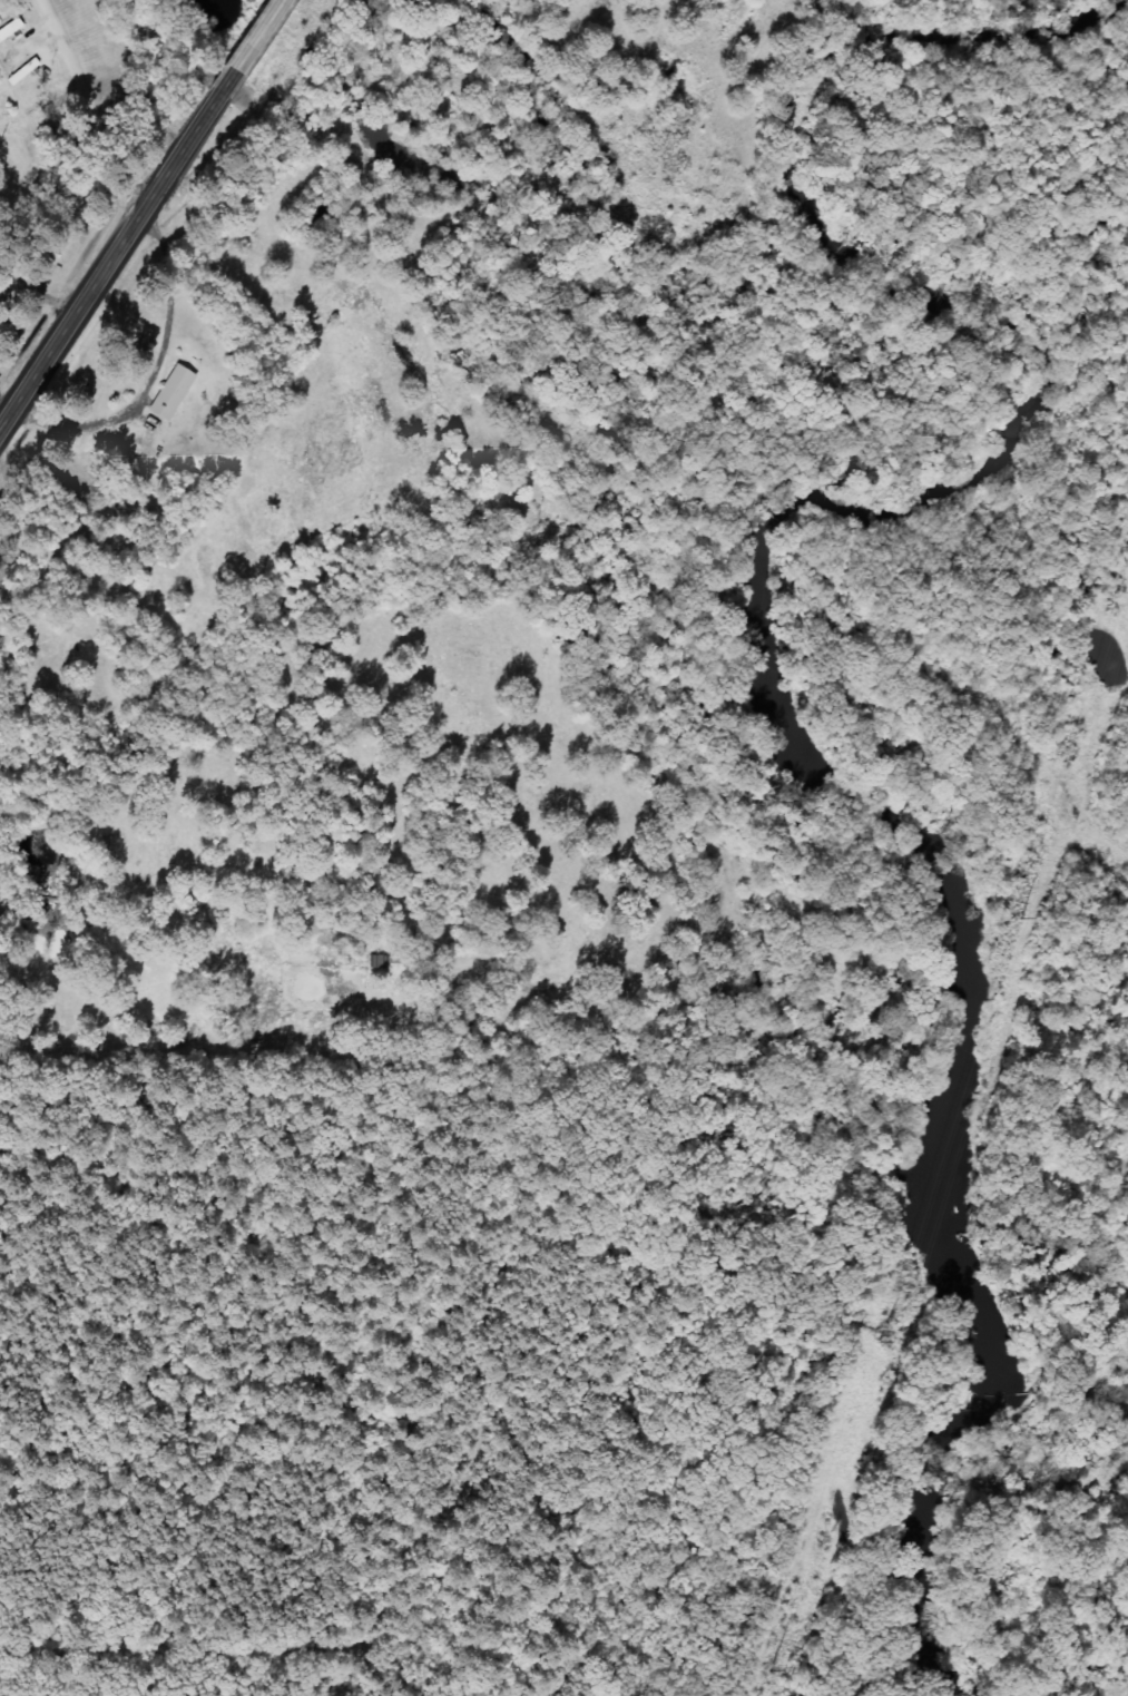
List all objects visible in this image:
building: (10, 29)
road: (248, 48)
road: (87, 107)
road: (108, 261)
road: (36, 313)
road: (154, 375)
building: (171, 392)
power tower: (1019, 919)
road: (149, 1048)
power tower: (886, 1343)
power tower: (774, 1670)

